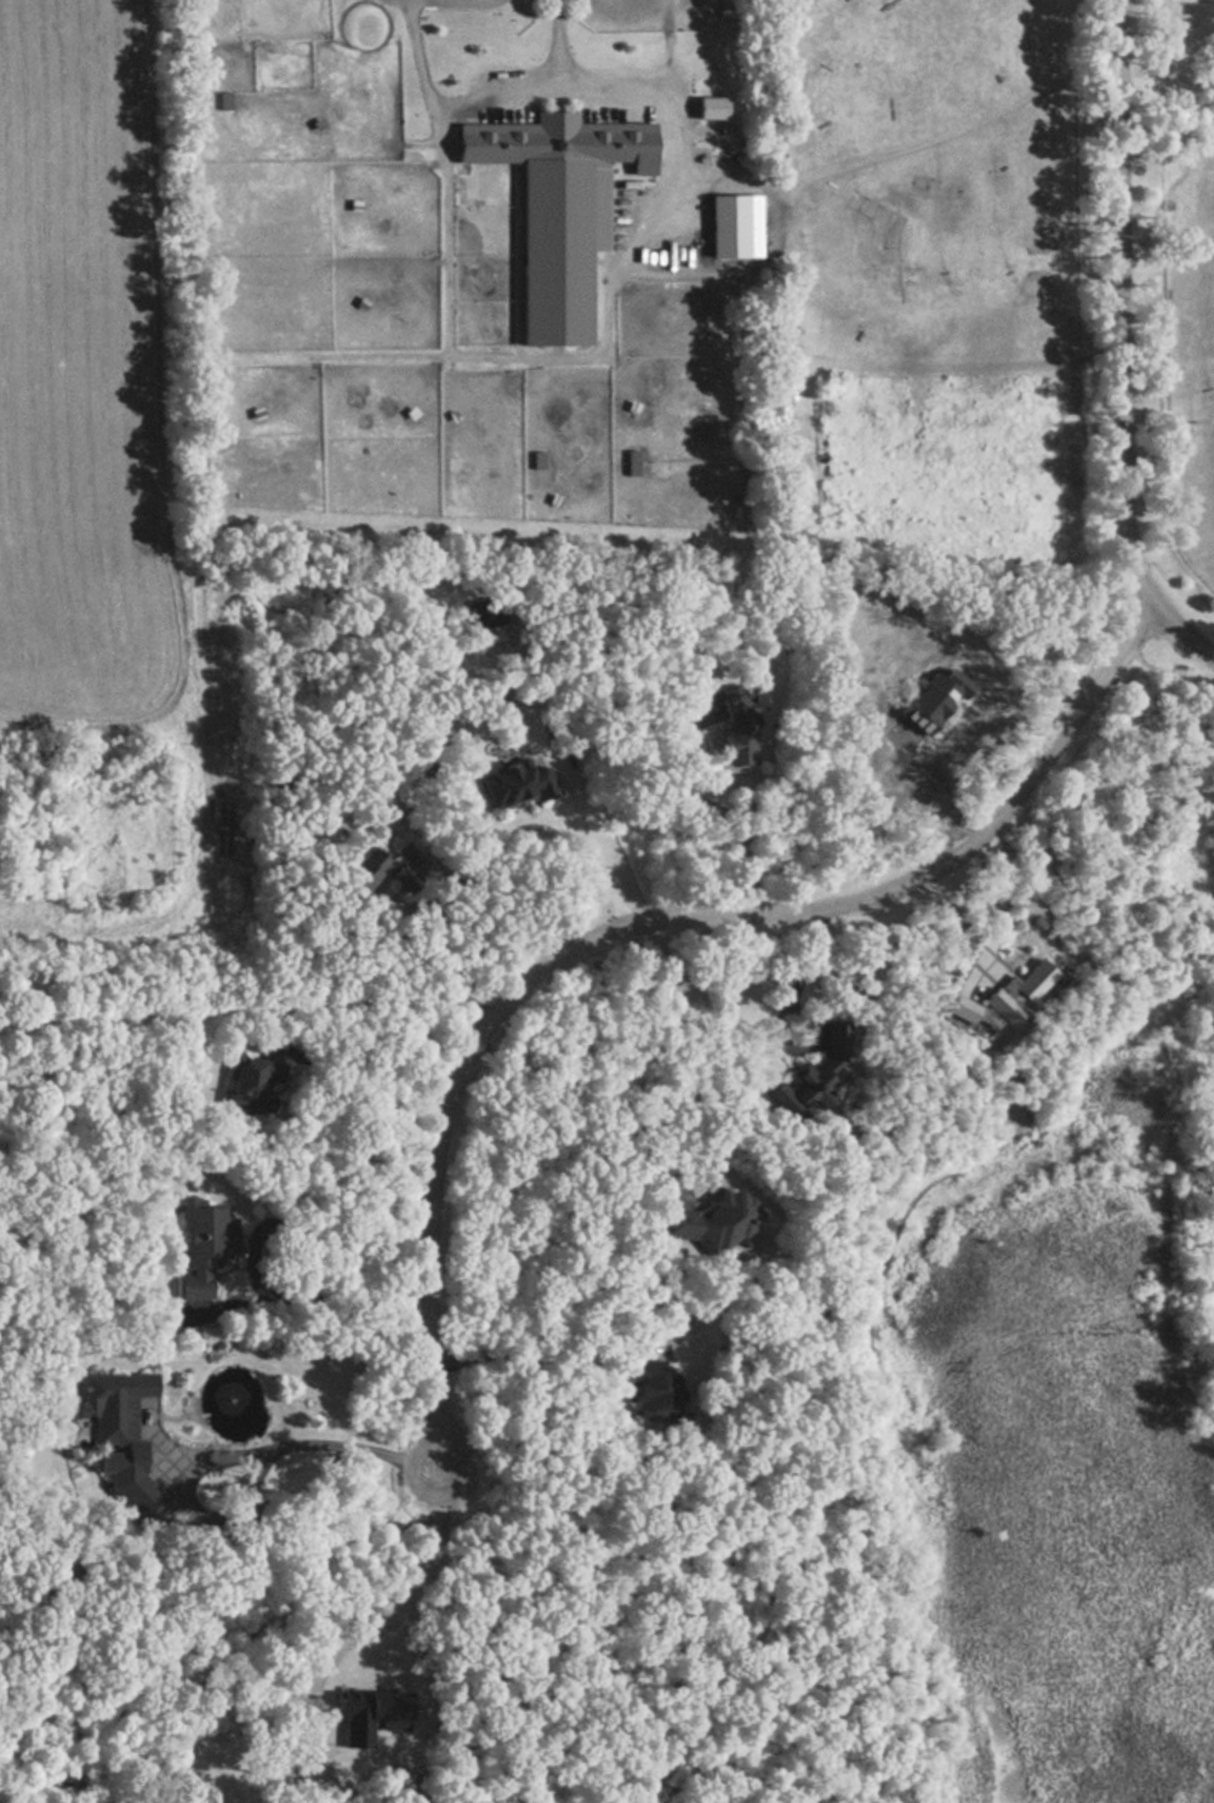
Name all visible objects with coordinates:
road: (559, 39)
building: (709, 108)
road: (901, 150)
building: (558, 209)
building: (726, 222)
road: (1119, 346)
road: (541, 357)
building: (632, 462)
building: (741, 738)
road: (574, 772)
building: (517, 783)
road: (928, 790)
road: (725, 815)
building: (357, 878)
road: (1005, 899)
road: (646, 922)
road: (438, 948)
road: (783, 1009)
building: (815, 1076)
road: (369, 1079)
building: (253, 1081)
road: (594, 1098)
building: (724, 1223)
building: (204, 1234)
road: (267, 1282)
road: (530, 1350)
building: (655, 1397)
building: (116, 1409)
road: (281, 1440)
road: (216, 1512)
road: (398, 1604)

